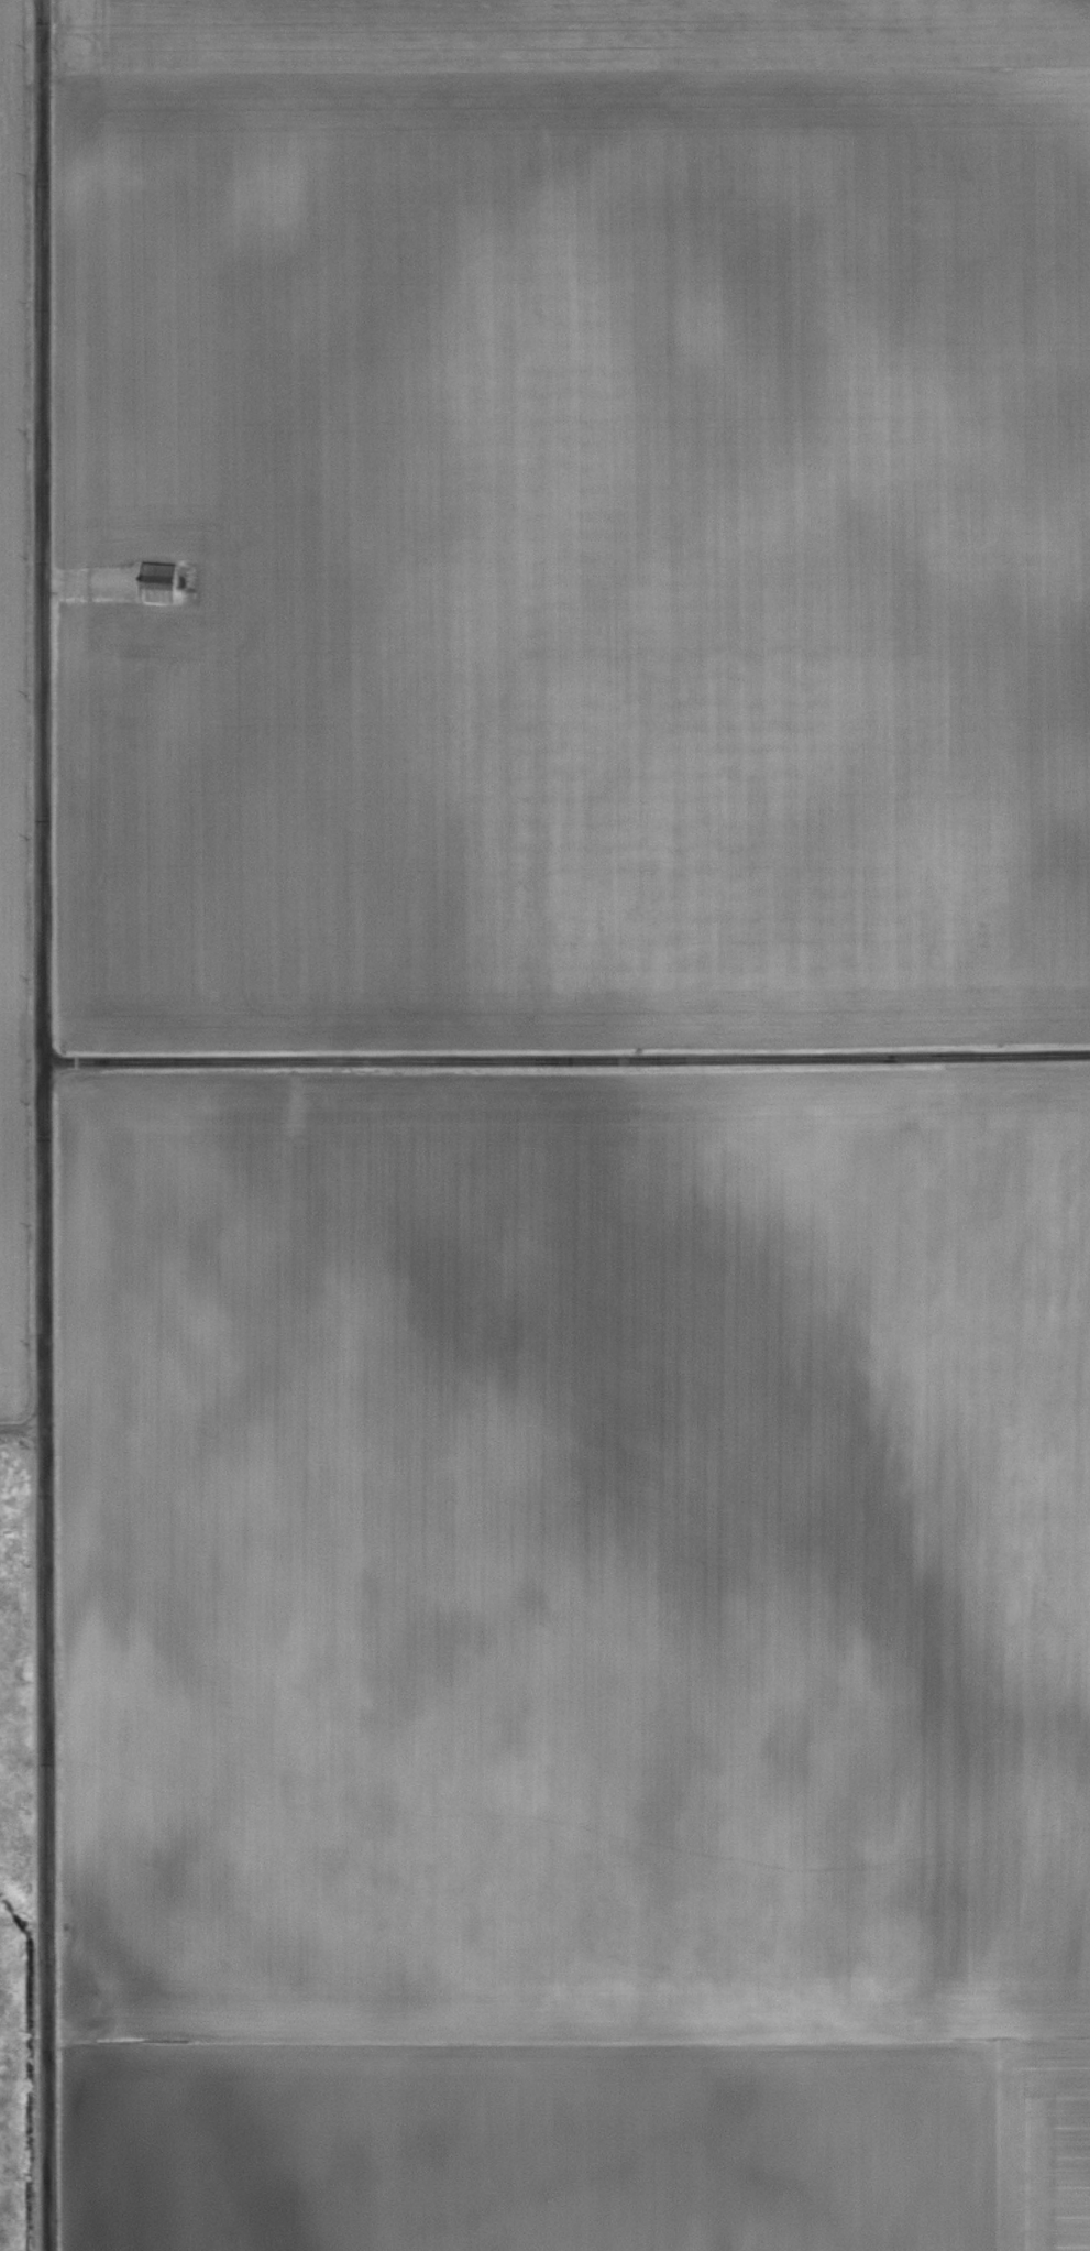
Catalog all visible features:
road: (564, 1055)
road: (40, 1125)
road: (22, 1428)

